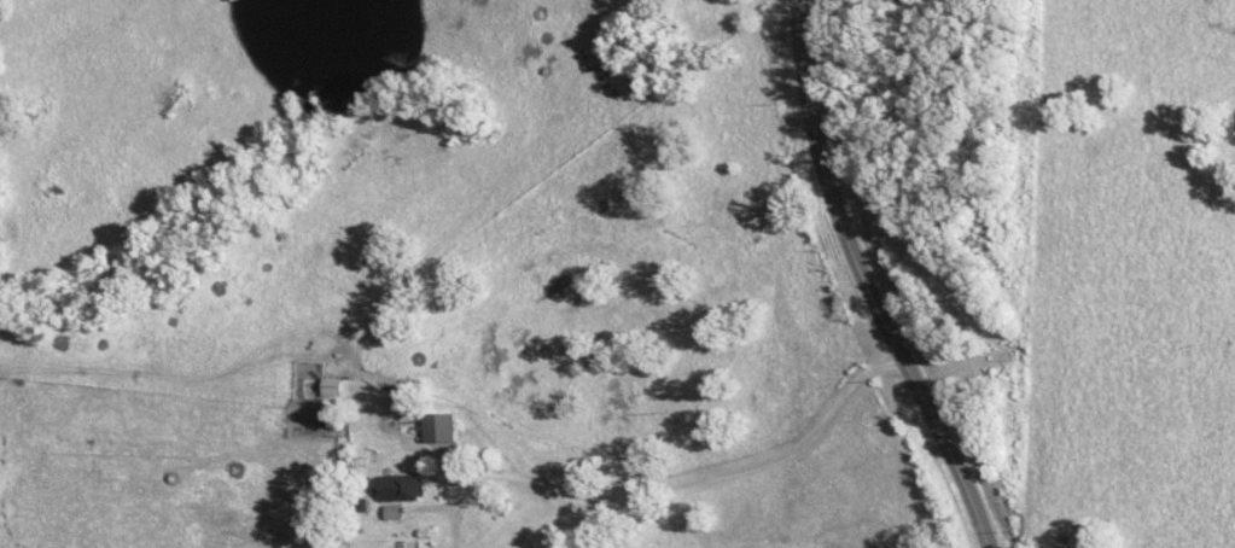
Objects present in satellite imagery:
road: (864, 284)
building: (339, 385)
building: (449, 426)
building: (407, 486)
road: (660, 486)

